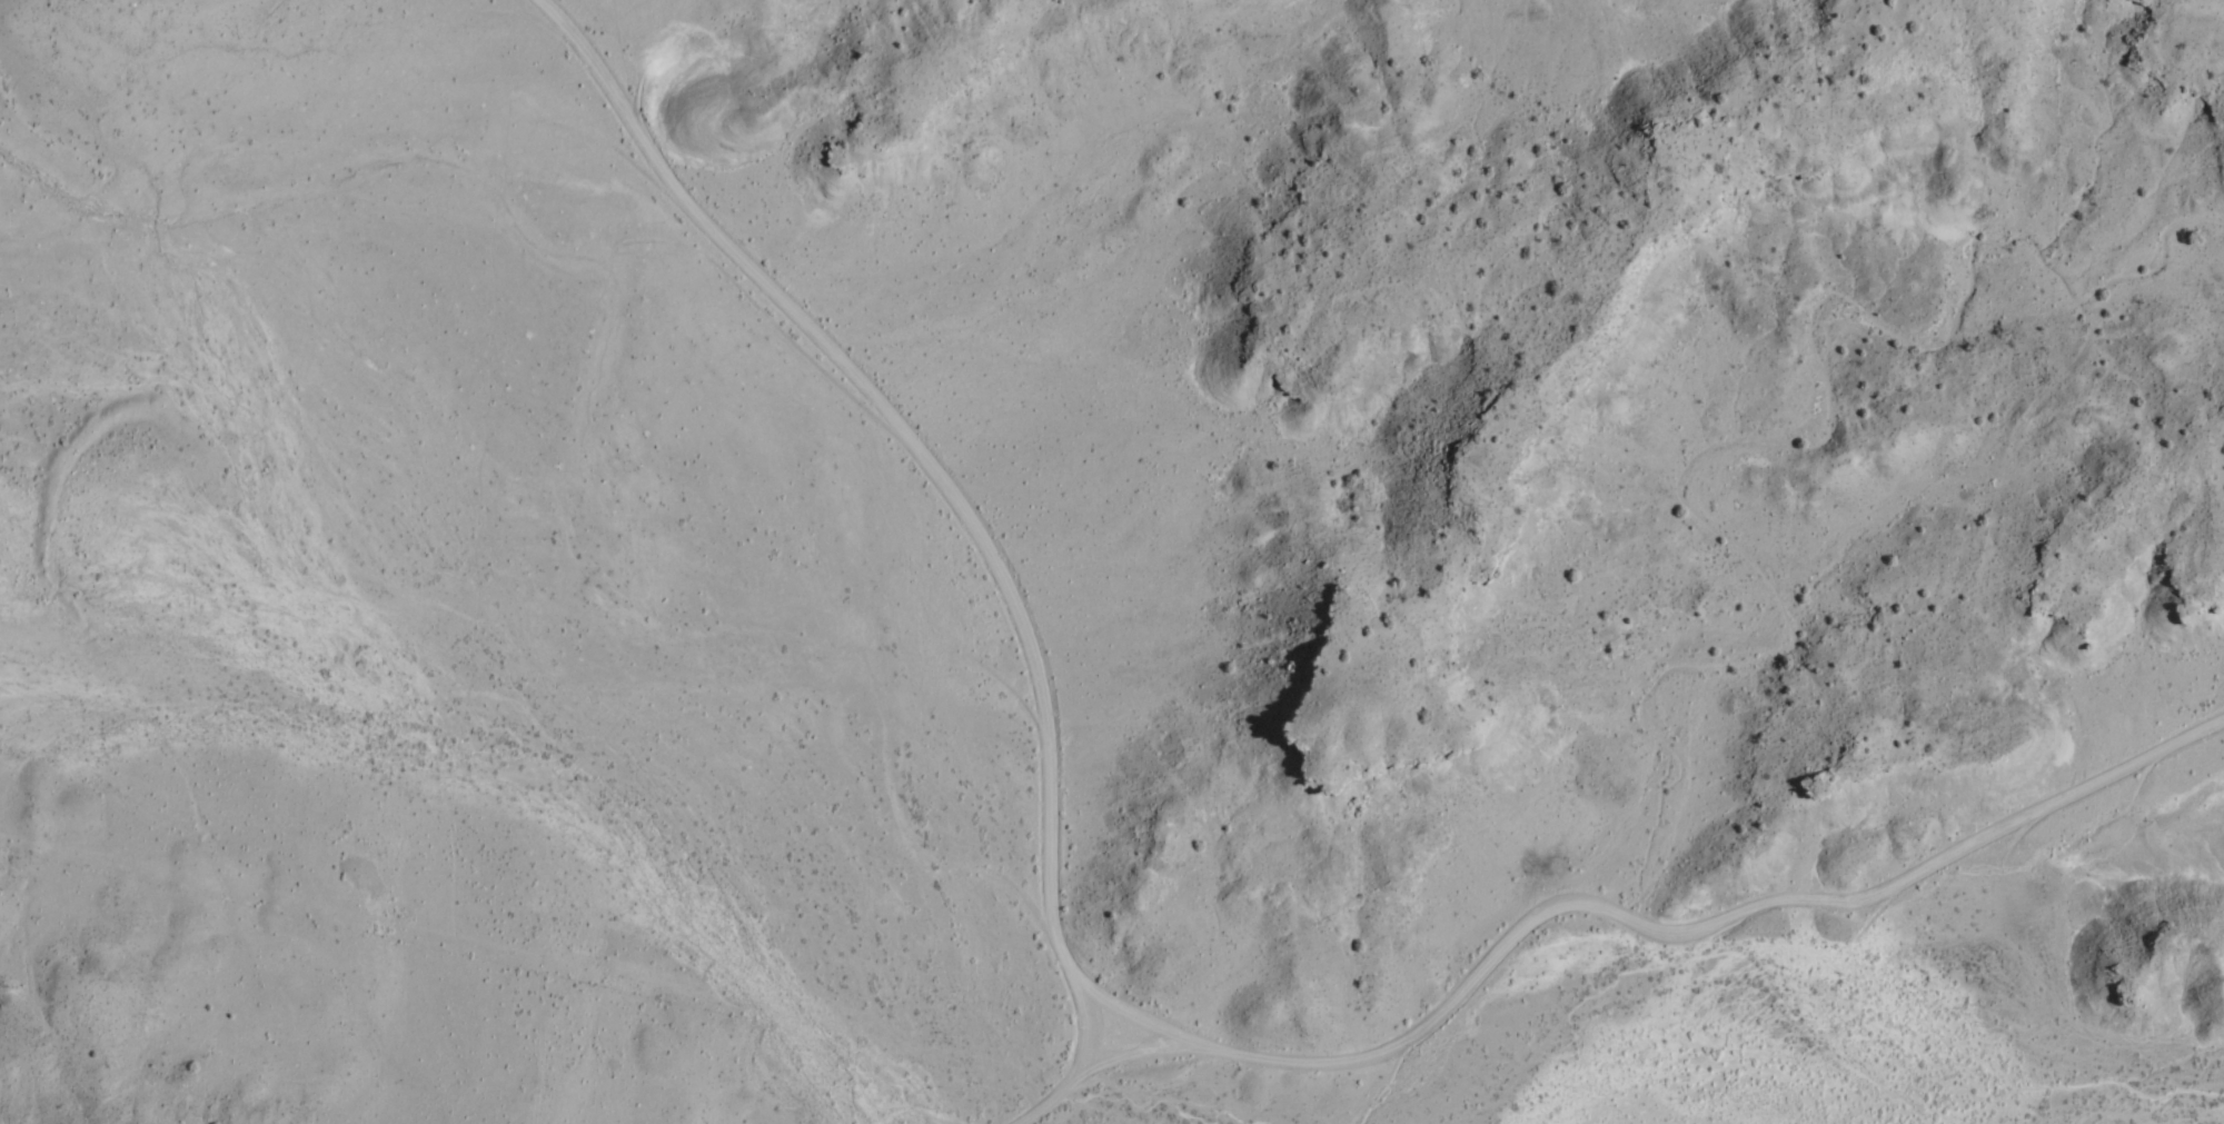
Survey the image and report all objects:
road: (1132, 1007)
road: (1135, 1045)
road: (1081, 1051)

